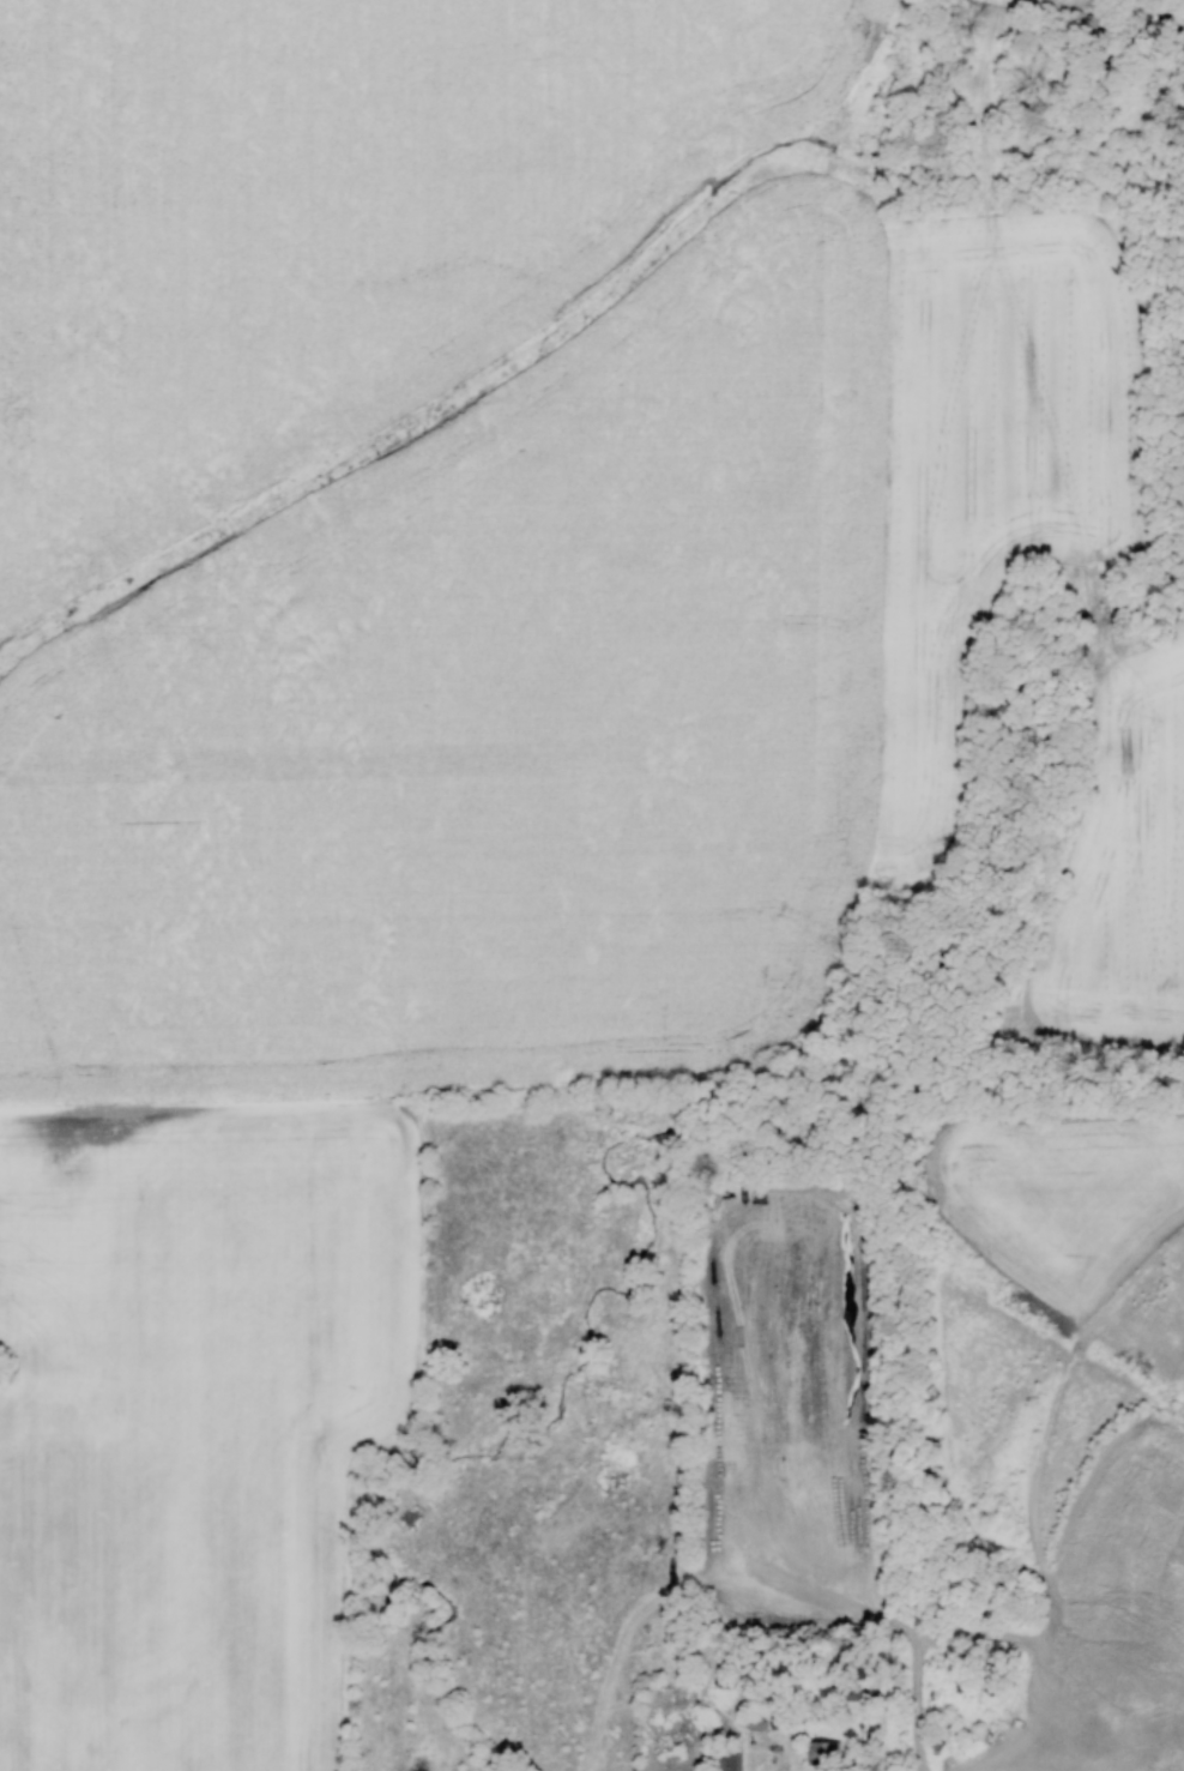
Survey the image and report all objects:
building: (860, 1695)
building: (778, 1719)
building: (755, 1723)
building: (822, 1752)
building: (729, 1759)

